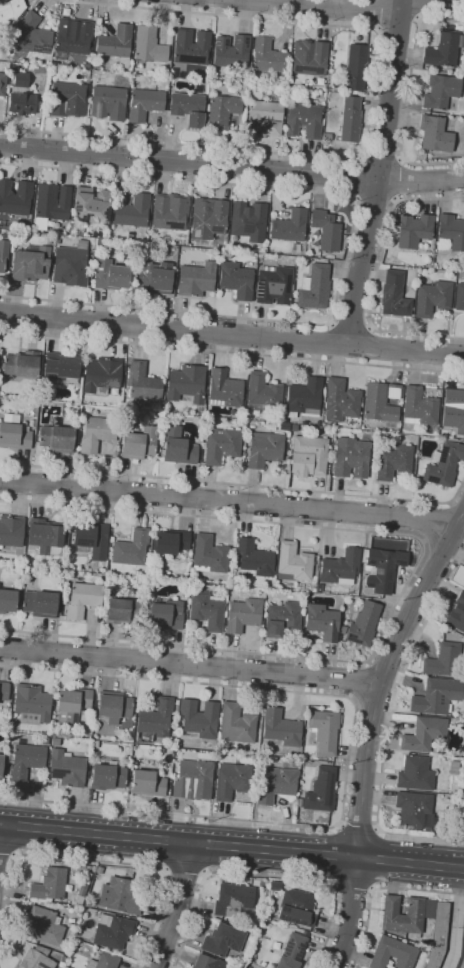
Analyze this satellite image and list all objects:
road: (326, 7)
building: (10, 10)
road: (417, 17)
road: (392, 22)
road: (377, 27)
building: (31, 36)
building: (73, 36)
building: (116, 44)
building: (148, 46)
building: (191, 47)
building: (443, 50)
building: (232, 51)
building: (267, 57)
building: (309, 57)
building: (356, 66)
building: (20, 79)
building: (2, 84)
building: (440, 90)
building: (290, 91)
road: (408, 97)
building: (67, 99)
building: (110, 100)
building: (21, 103)
building: (287, 103)
building: (144, 104)
building: (188, 107)
building: (222, 111)
road: (370, 115)
building: (265, 118)
building: (304, 120)
building: (350, 120)
building: (435, 134)
road: (231, 165)
road: (379, 173)
road: (358, 179)
building: (15, 197)
building: (51, 204)
building: (91, 206)
building: (132, 211)
building: (170, 212)
building: (208, 218)
building: (249, 221)
building: (6, 224)
building: (290, 226)
building: (326, 230)
building: (415, 232)
building: (450, 232)
building: (96, 234)
road: (348, 247)
building: (3, 254)
building: (325, 260)
building: (31, 263)
building: (259, 263)
building: (71, 264)
building: (110, 275)
road: (376, 275)
building: (154, 277)
building: (196, 279)
building: (236, 279)
building: (273, 285)
building: (315, 288)
building: (394, 295)
building: (459, 297)
building: (432, 298)
road: (351, 323)
road: (231, 335)
road: (232, 352)
building: (21, 364)
building: (60, 368)
building: (102, 375)
building: (142, 381)
building: (187, 382)
building: (224, 388)
building: (263, 393)
building: (303, 397)
building: (340, 400)
building: (381, 401)
building: (419, 407)
building: (453, 410)
building: (96, 432)
building: (14, 436)
building: (366, 436)
building: (56, 438)
building: (139, 443)
building: (221, 445)
building: (178, 447)
building: (264, 449)
building: (308, 456)
building: (350, 457)
building: (392, 461)
building: (444, 463)
road: (238, 484)
road: (228, 501)
building: (10, 531)
building: (44, 535)
building: (92, 539)
building: (65, 540)
building: (170, 542)
building: (131, 548)
building: (209, 555)
building: (254, 558)
building: (293, 562)
building: (341, 567)
building: (382, 568)
building: (32, 573)
road: (411, 577)
building: (82, 599)
building: (8, 601)
building: (39, 604)
building: (206, 610)
building: (122, 611)
building: (457, 612)
building: (165, 613)
building: (242, 615)
building: (281, 618)
building: (322, 622)
building: (362, 624)
building: (443, 660)
road: (190, 665)
road: (384, 678)
building: (4, 691)
building: (436, 696)
building: (32, 704)
building: (72, 704)
building: (113, 706)
building: (462, 717)
building: (156, 718)
building: (198, 719)
building: (236, 724)
building: (461, 726)
building: (281, 728)
road: (388, 728)
building: (324, 730)
building: (424, 734)
building: (44, 740)
building: (55, 742)
building: (94, 744)
building: (168, 750)
road: (349, 756)
building: (24, 761)
building: (1, 763)
building: (66, 768)
building: (453, 768)
building: (415, 773)
building: (107, 777)
building: (193, 780)
building: (231, 780)
building: (147, 783)
building: (276, 784)
building: (458, 789)
building: (321, 790)
building: (414, 809)
road: (359, 827)
road: (232, 846)
road: (91, 860)
road: (185, 871)
road: (264, 878)
building: (49, 885)
road: (353, 886)
building: (82, 888)
road: (378, 889)
building: (119, 896)
building: (232, 899)
road: (174, 905)
building: (297, 907)
building: (429, 908)
road: (350, 913)
building: (402, 914)
building: (267, 916)
road: (457, 919)
building: (45, 926)
building: (112, 931)
building: (463, 932)
building: (438, 935)
building: (223, 940)
building: (274, 947)
building: (425, 949)
building: (292, 951)
building: (393, 953)
building: (62, 959)
building: (35, 960)
building: (103, 961)
building: (208, 962)
building: (462, 963)

